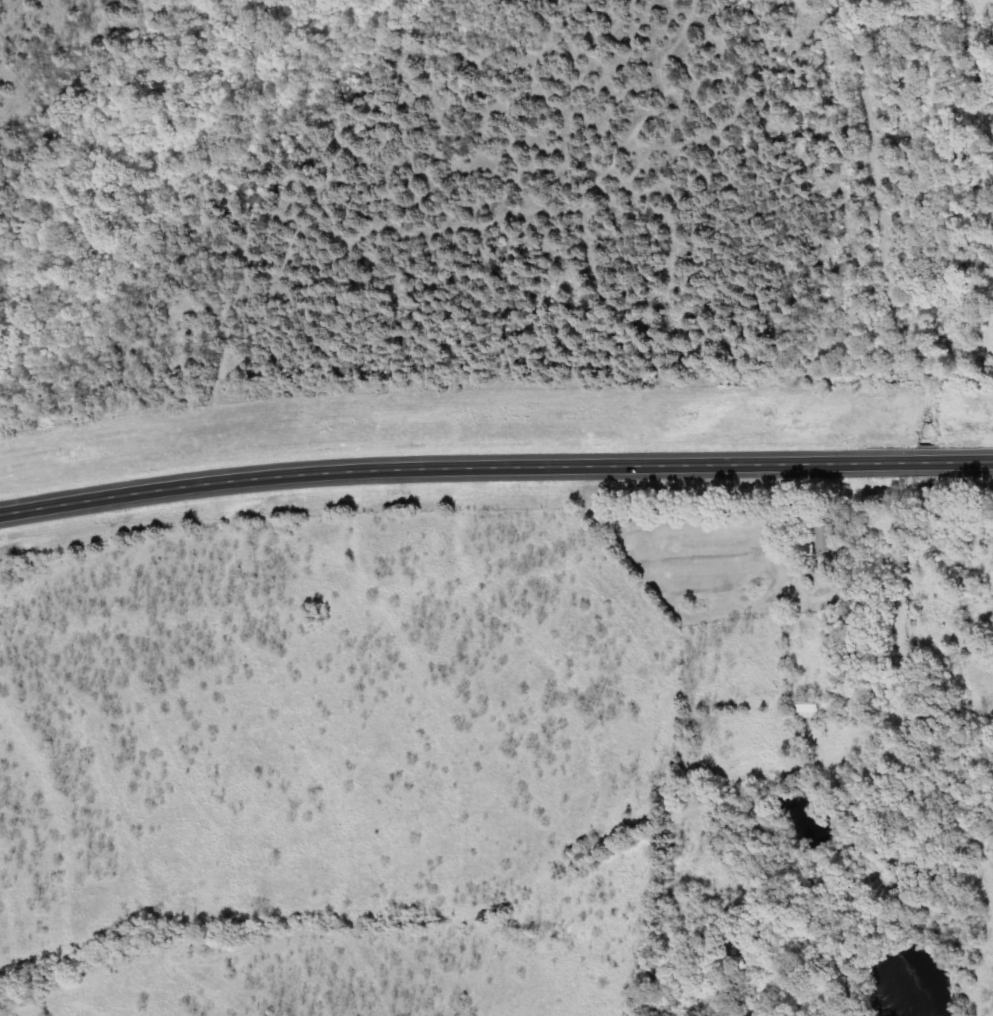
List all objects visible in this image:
road: (494, 462)
building: (829, 540)

